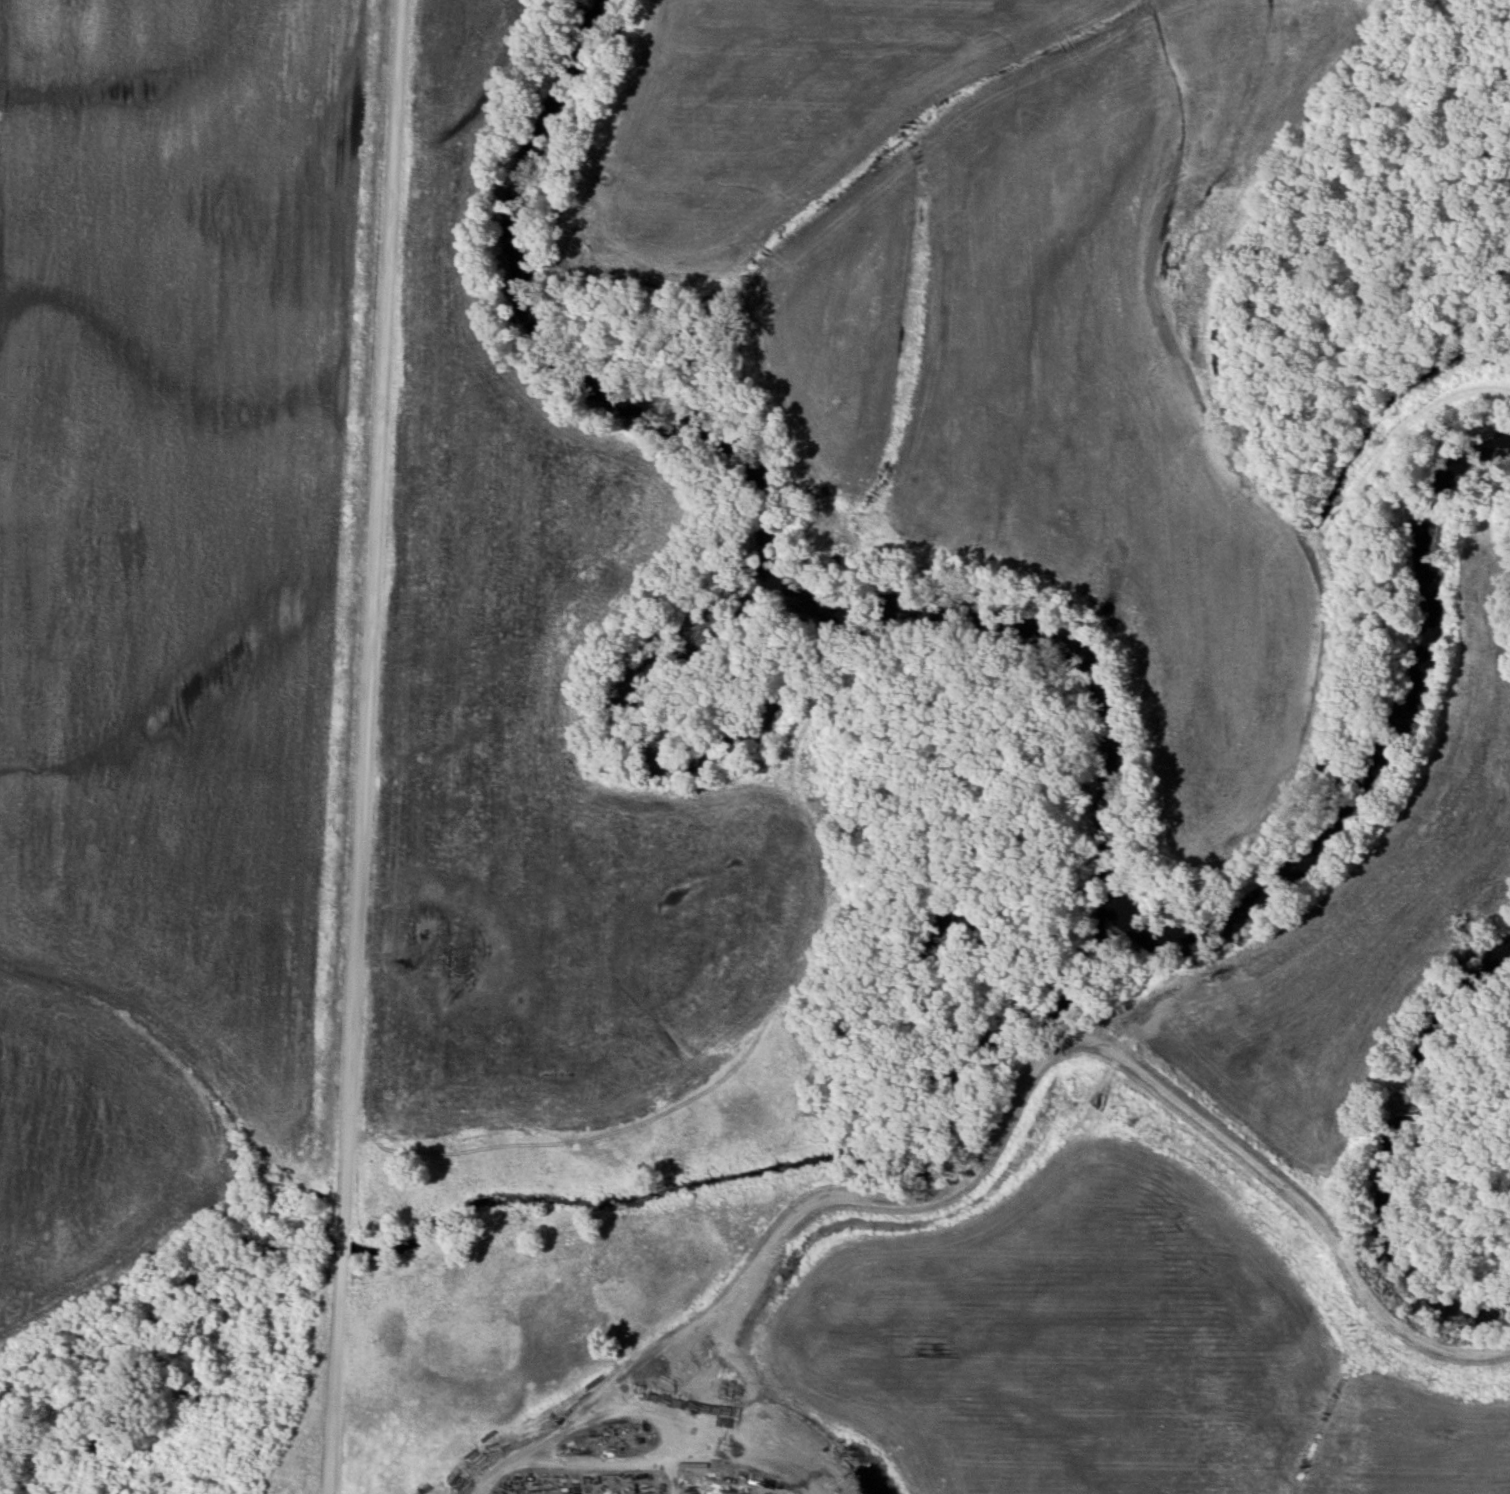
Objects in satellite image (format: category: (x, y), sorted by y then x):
crop: (184, 614)
river: (837, 658)
road: (369, 747)
river: (1378, 1157)

